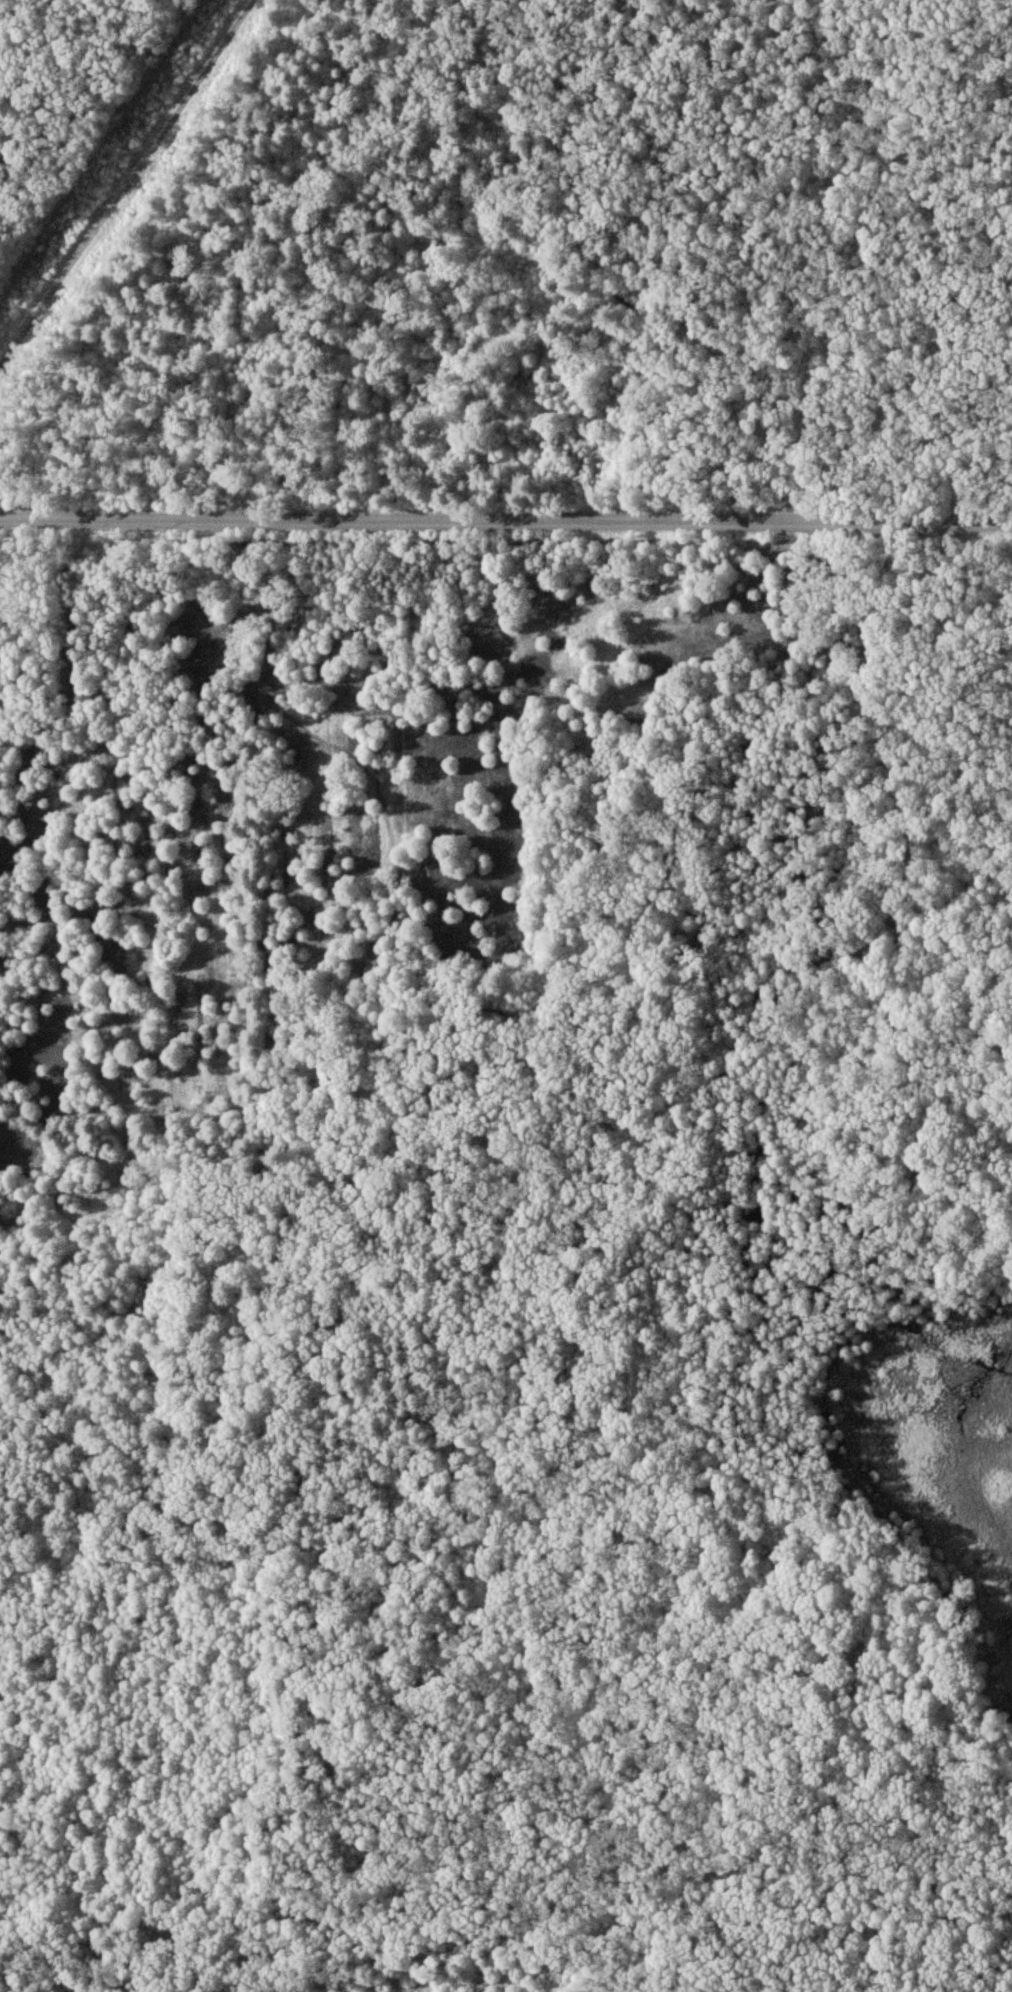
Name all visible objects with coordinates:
road: (506, 525)

